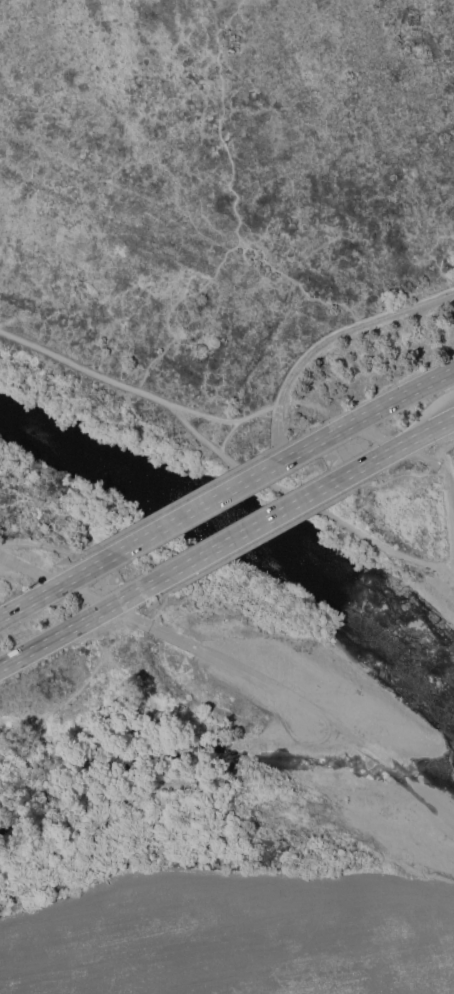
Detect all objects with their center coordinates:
road: (331, 335)
road: (136, 389)
road: (382, 404)
road: (443, 424)
road: (194, 429)
road: (394, 440)
road: (383, 455)
road: (273, 485)
park: (227, 497)
road: (210, 498)
road: (180, 499)
road: (448, 510)
river: (242, 524)
road: (232, 537)
road: (41, 544)
road: (388, 544)
road: (28, 569)
road: (54, 585)
road: (66, 630)
road: (198, 648)
road: (371, 754)
crop: (241, 935)

